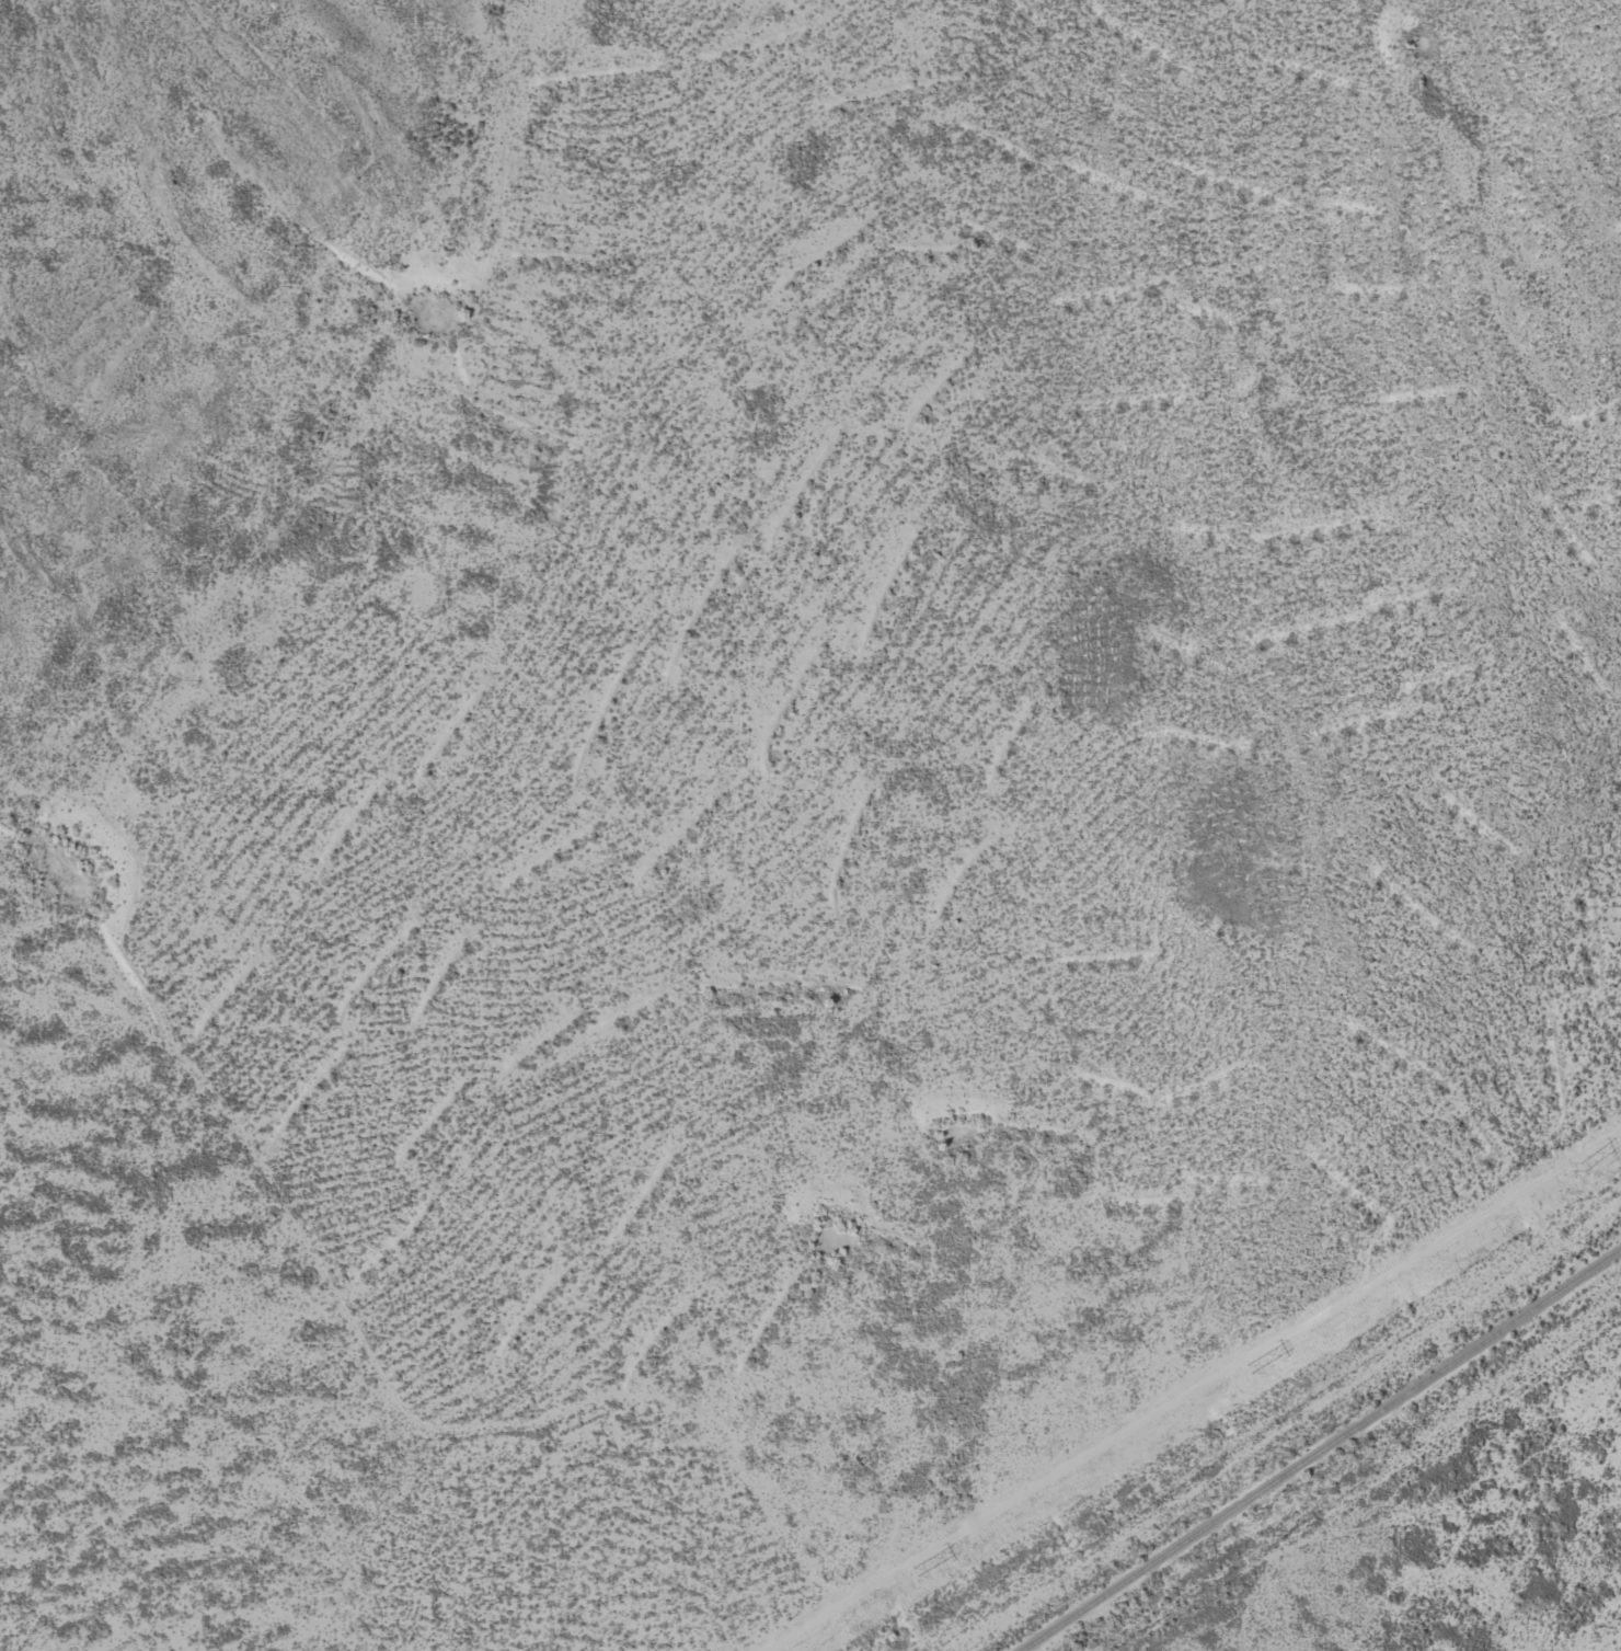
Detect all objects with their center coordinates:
power tower: (1582, 1166)
power tower: (1249, 1368)
road: (1254, 1401)
railway: (1320, 1451)
road: (1436, 1536)
power tower: (915, 1572)

